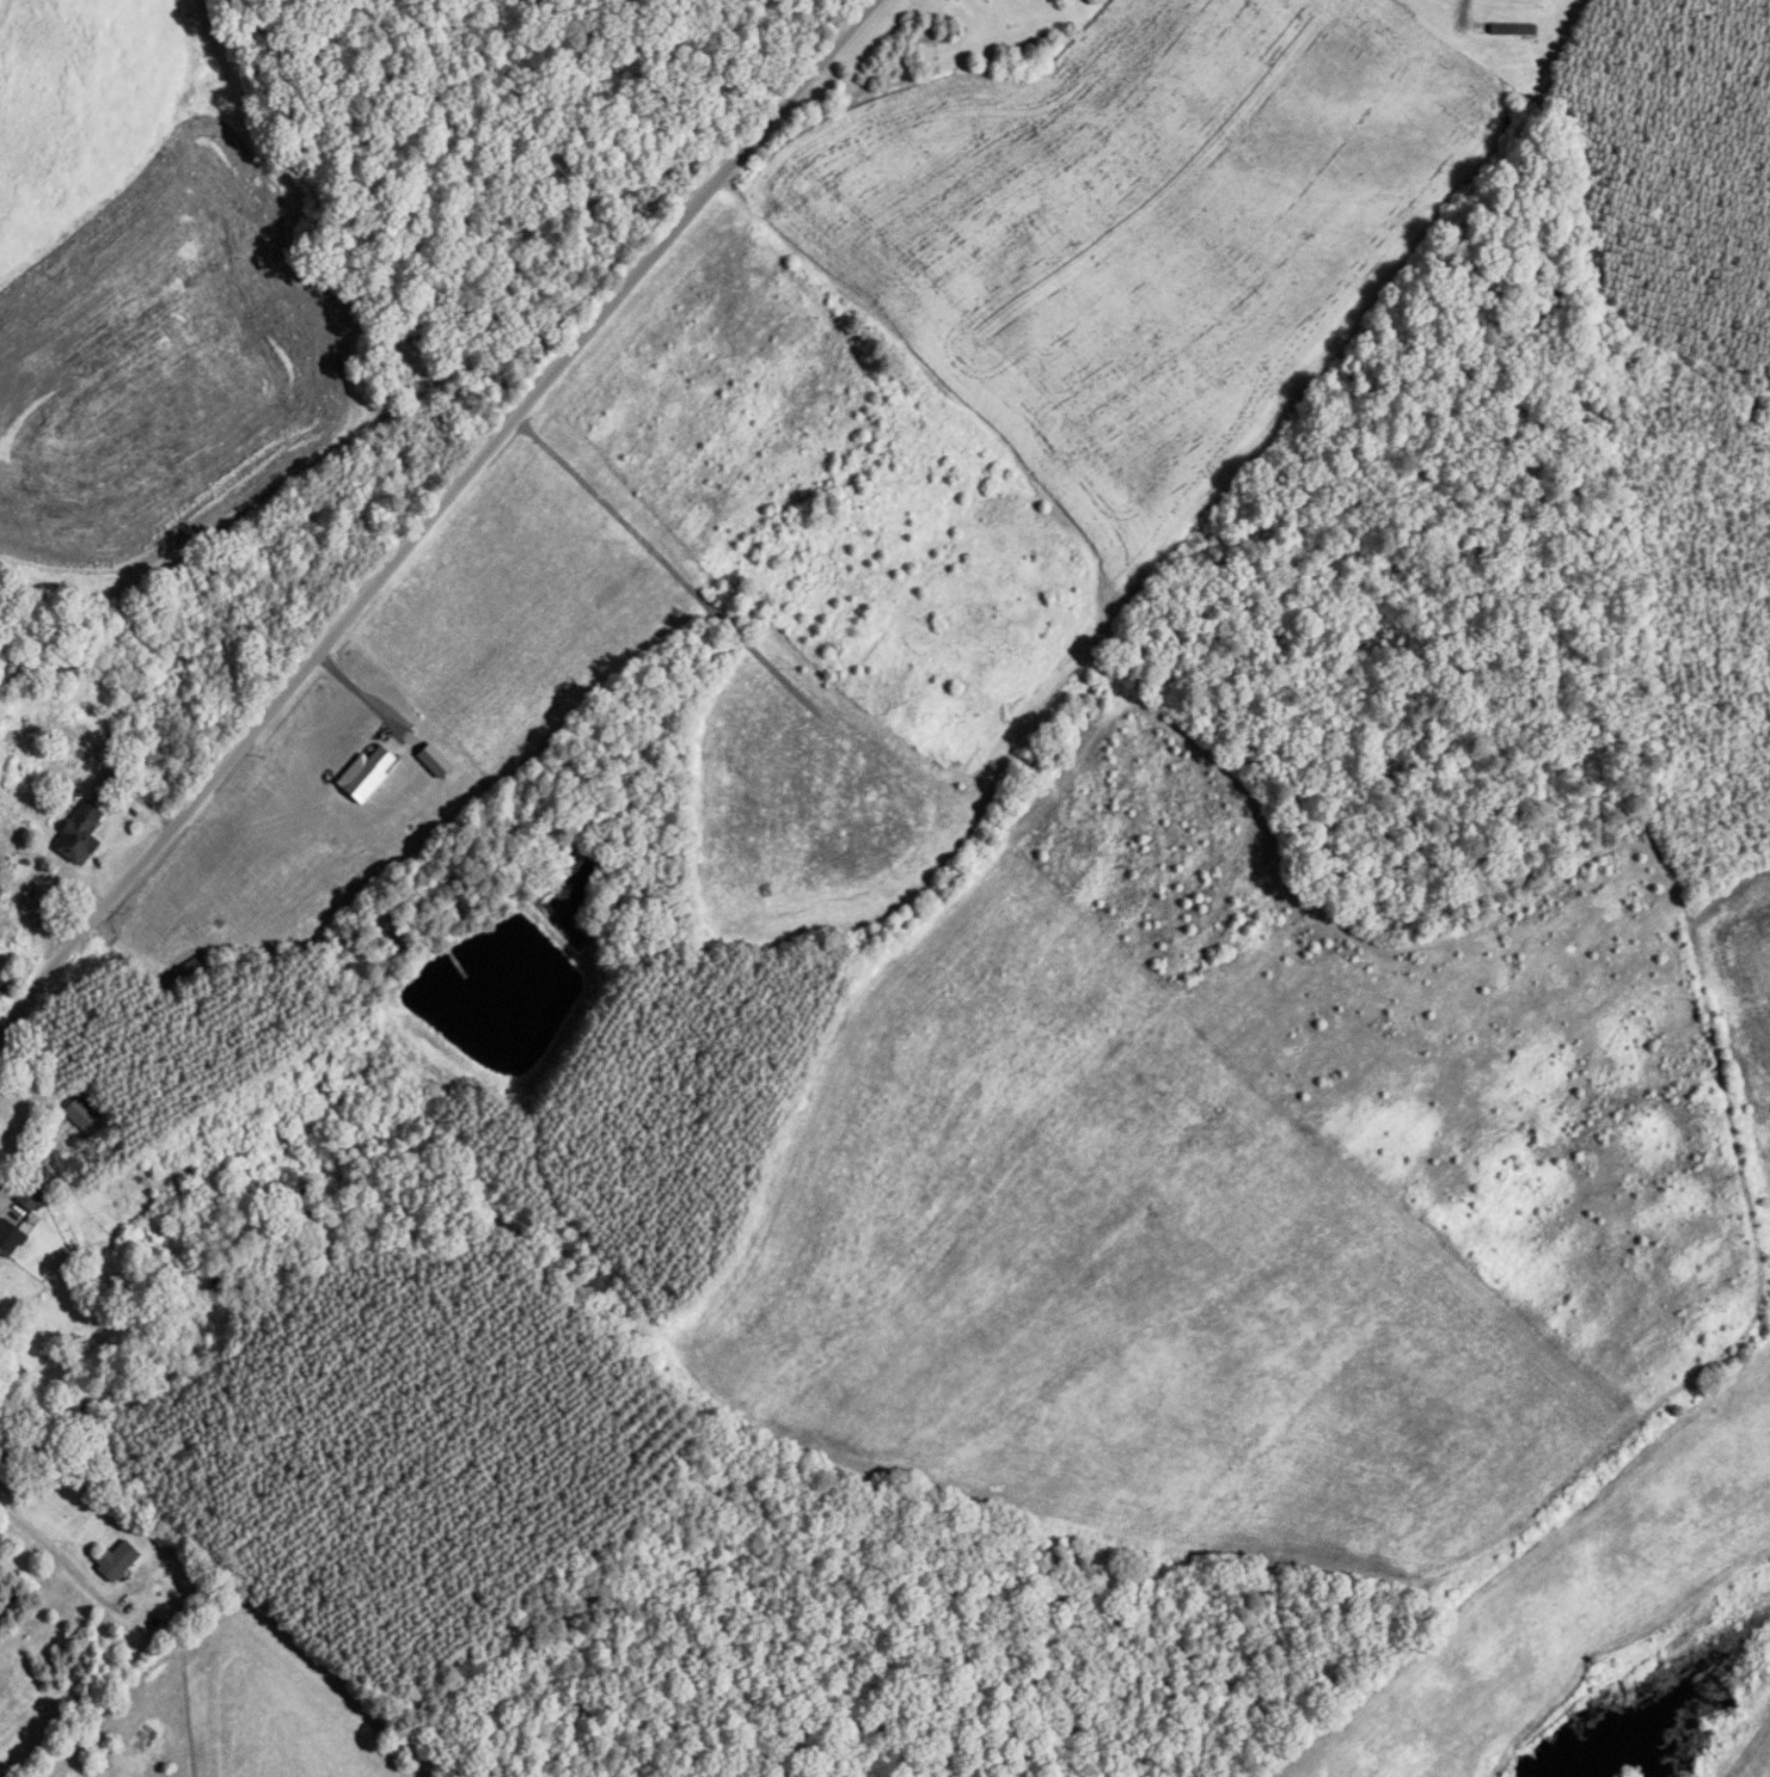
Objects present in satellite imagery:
road: (1435, 13)
building: (1512, 29)
road: (425, 516)
building: (80, 833)
building: (183, 973)
building: (5, 984)
building: (80, 1114)
building: (31, 1196)
building: (7, 1237)
road: (39, 1527)
building: (117, 1560)

